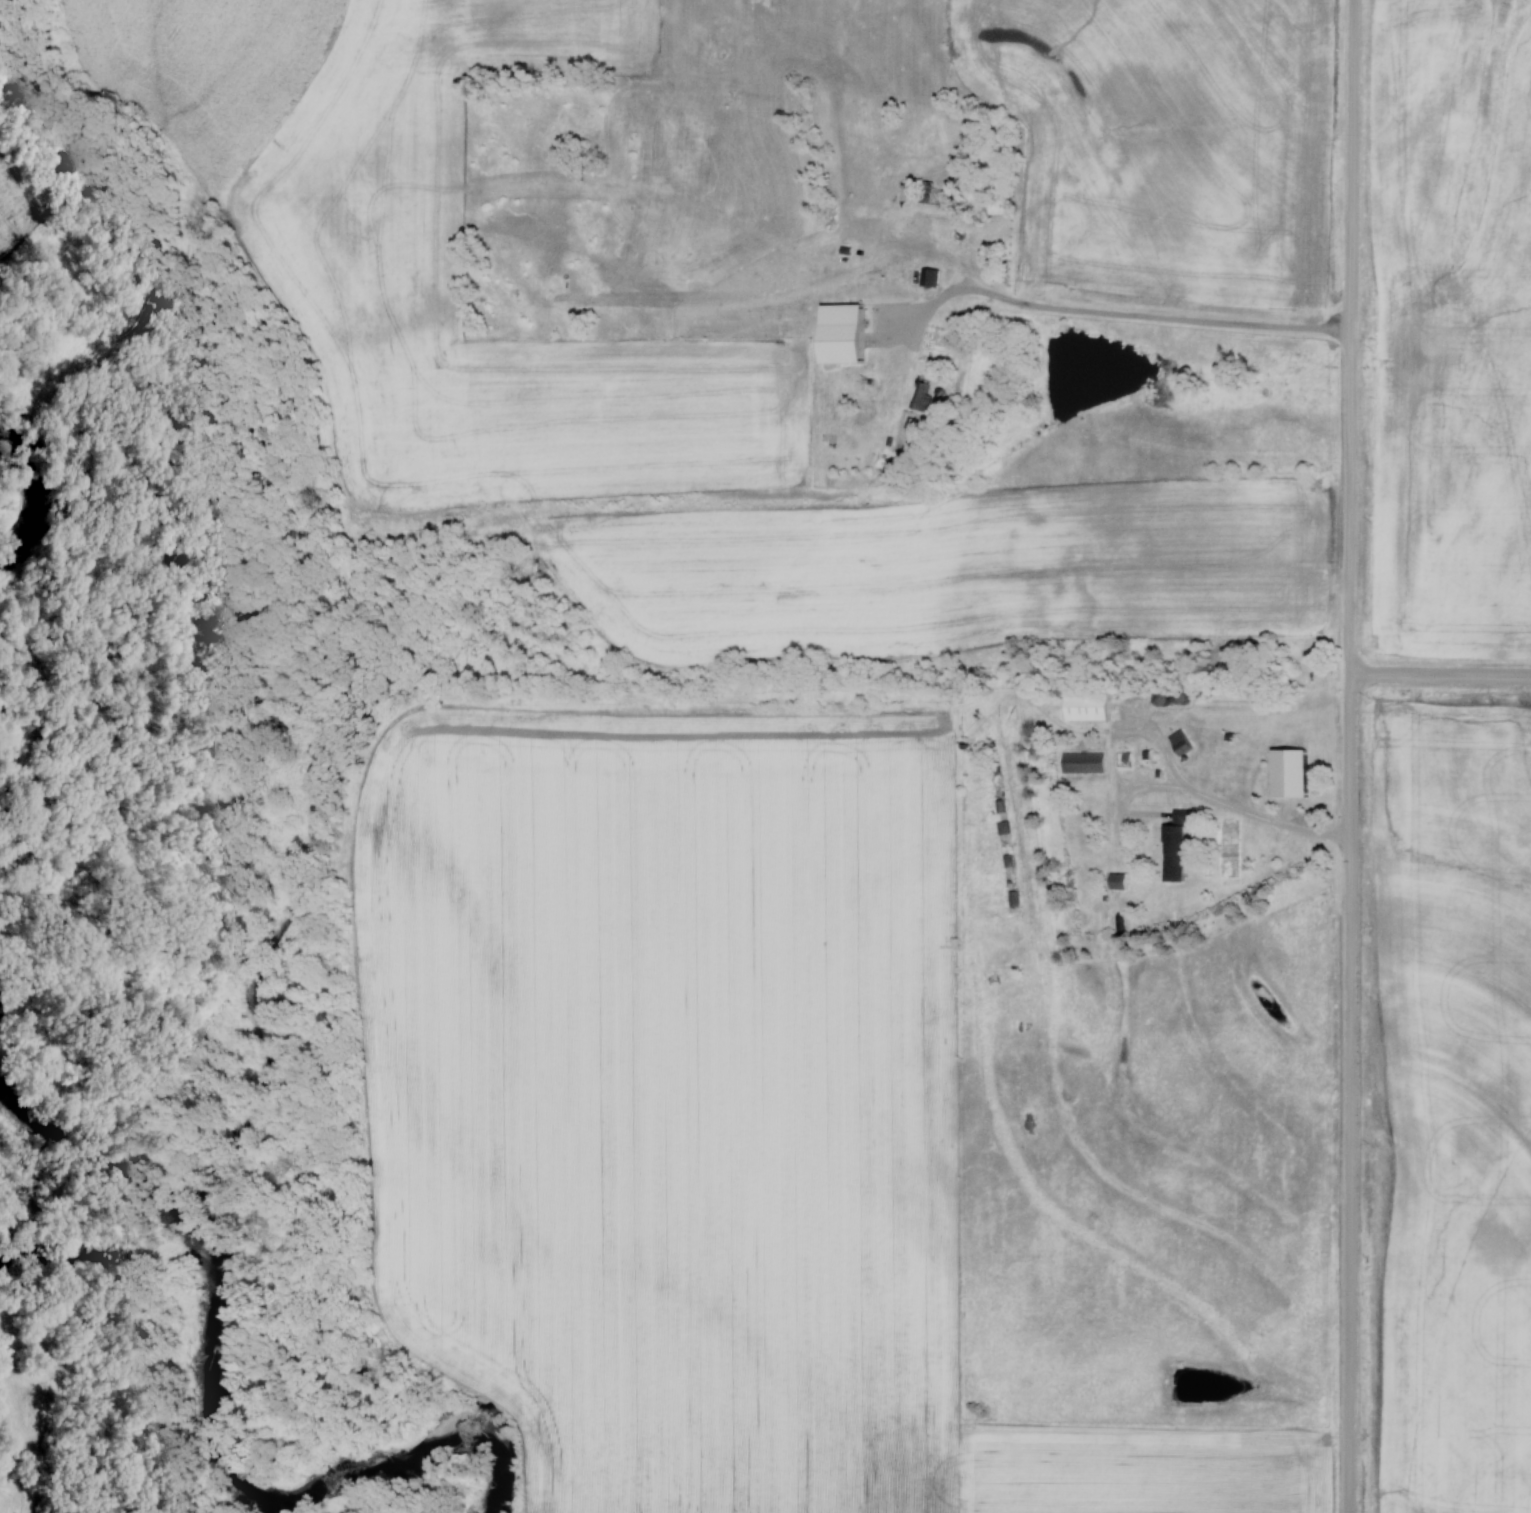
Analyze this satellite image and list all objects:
building: (929, 194)
building: (929, 277)
building: (871, 295)
road: (1170, 320)
building: (936, 366)
building: (919, 396)
road: (1441, 675)
building: (1161, 698)
building: (1087, 706)
building: (1180, 742)
road: (1351, 756)
building: (1081, 762)
building: (1290, 773)
road: (1117, 783)
road: (1265, 821)
building: (1002, 828)
building: (1175, 833)
building: (1117, 881)

